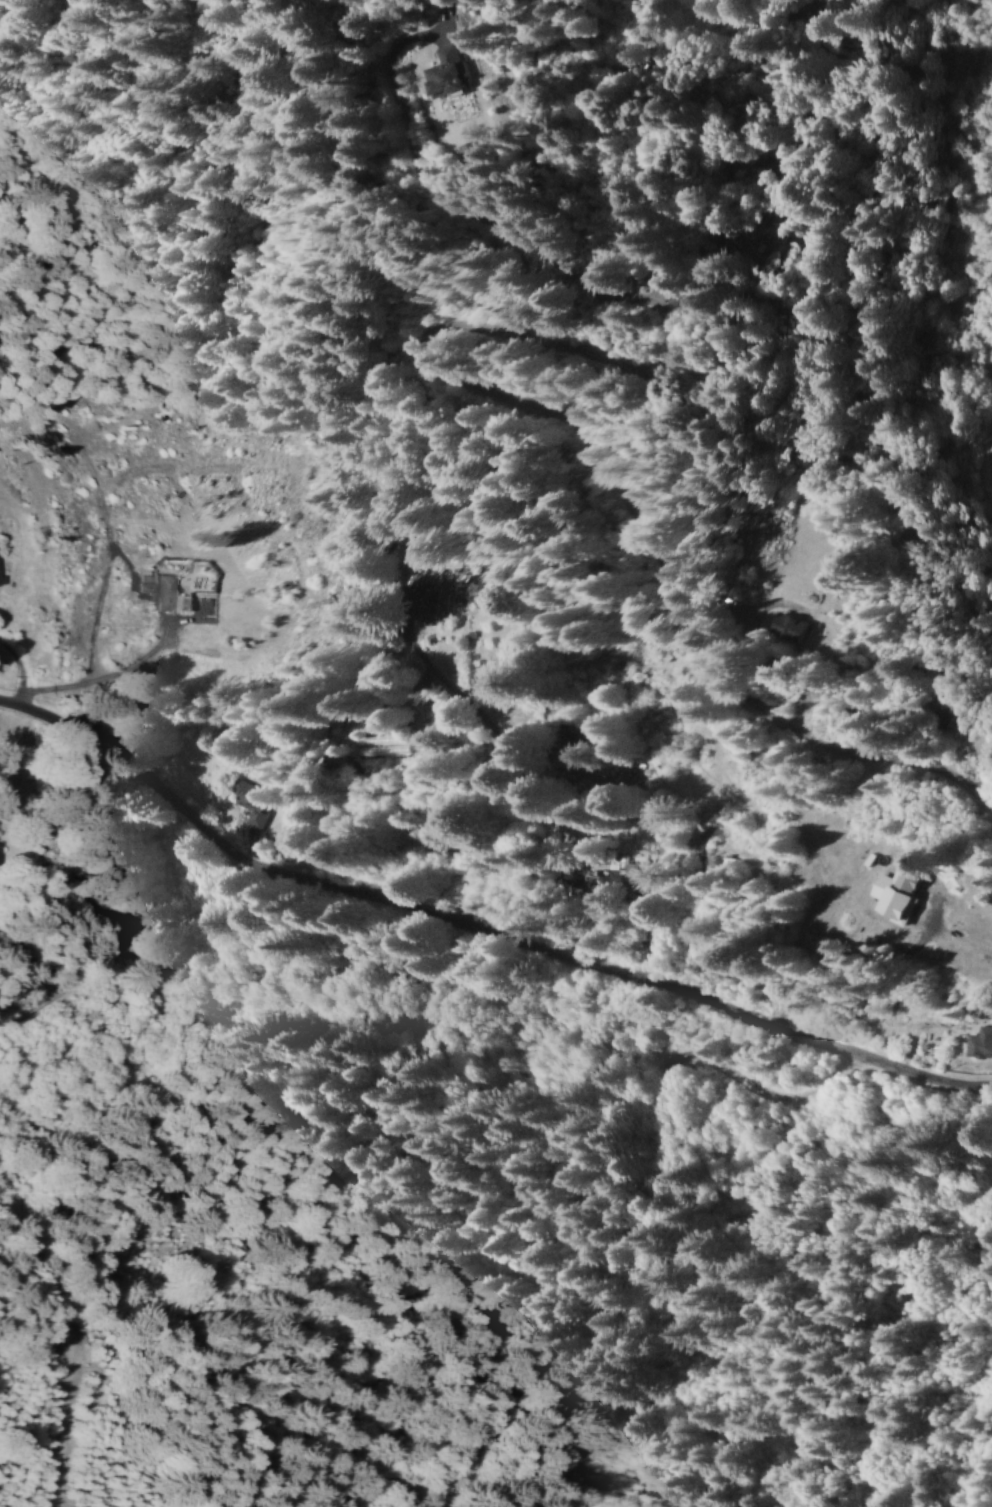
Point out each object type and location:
building: (448, 71)
building: (159, 590)
building: (795, 625)
building: (248, 801)
building: (898, 892)
road: (476, 936)
road: (125, 948)
building: (980, 1041)
road: (637, 1193)

